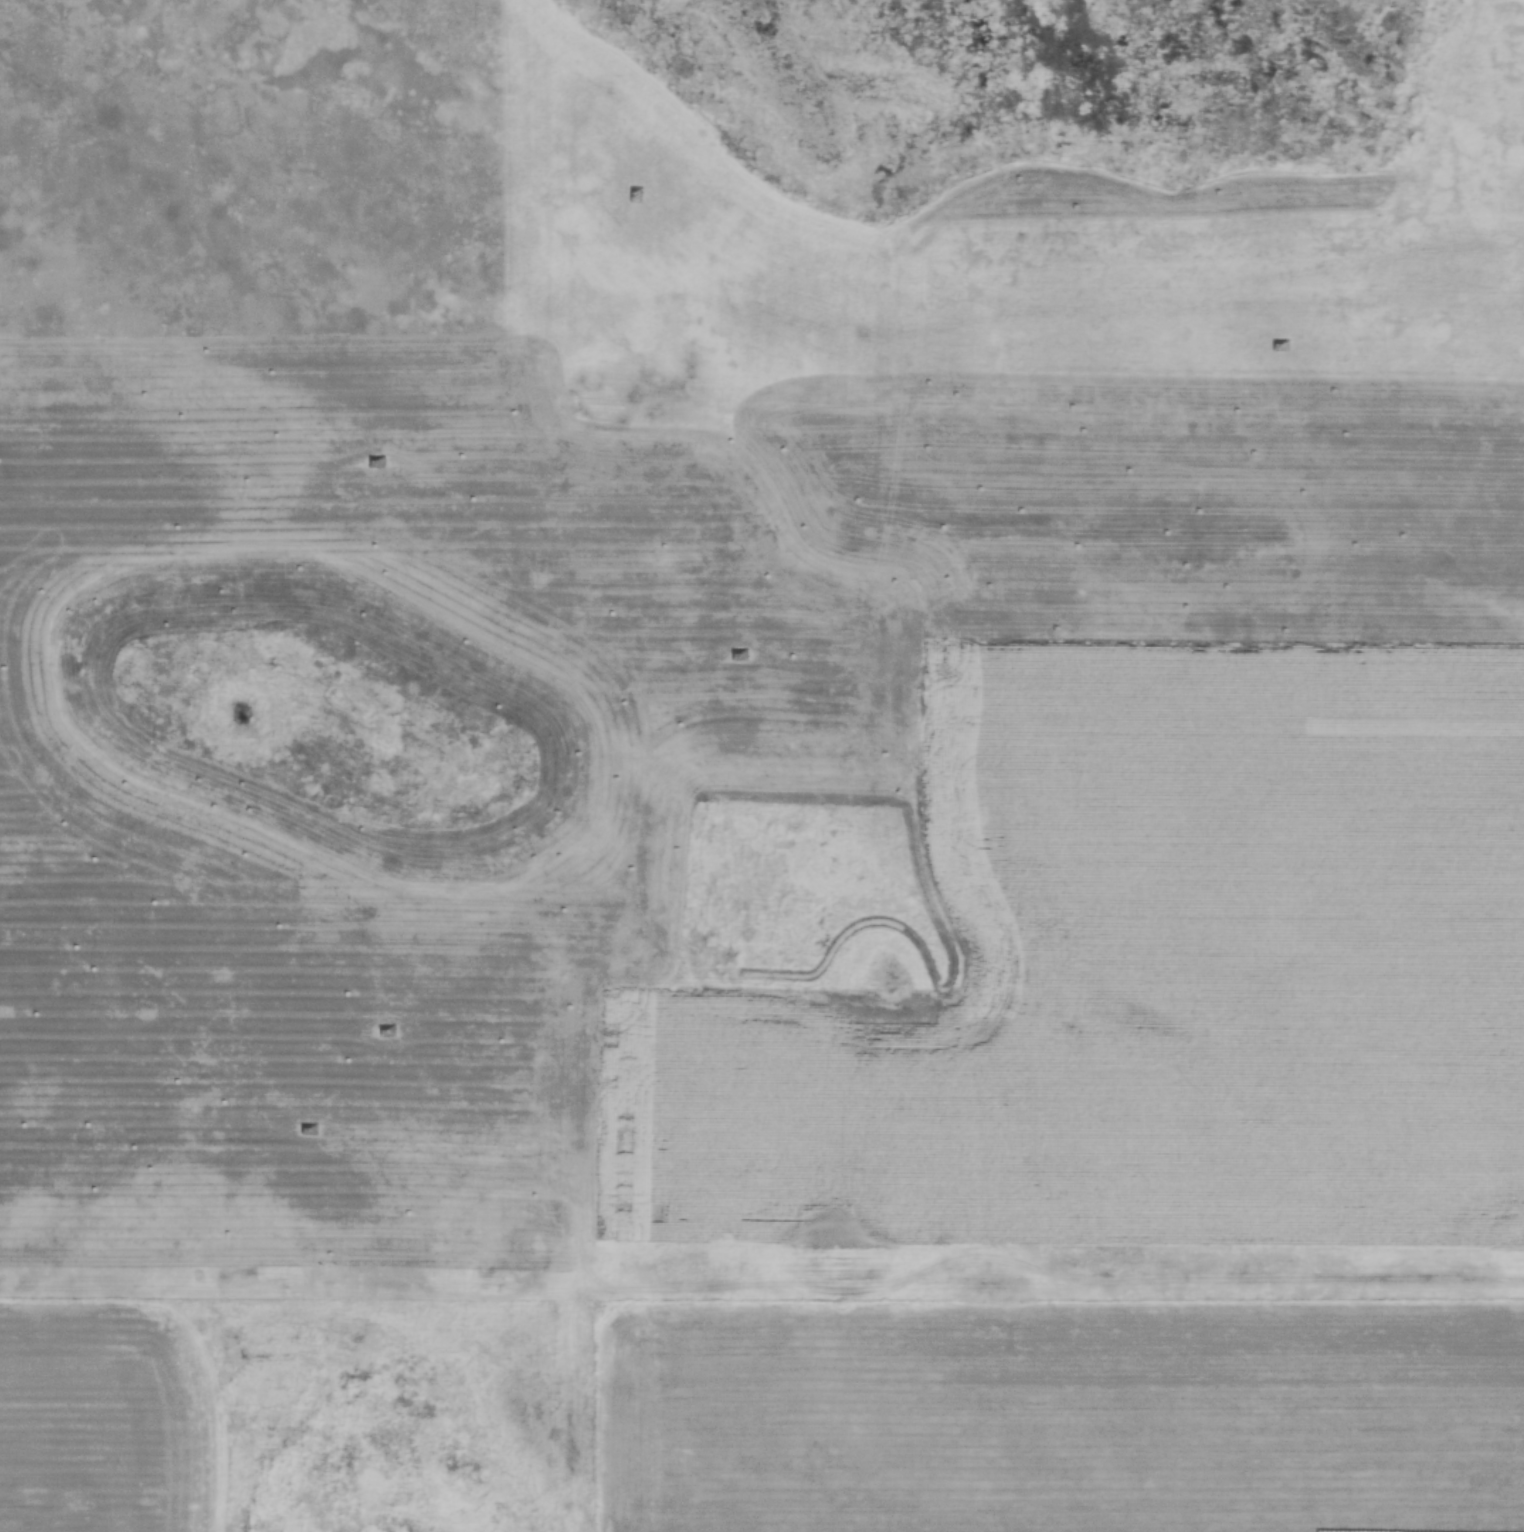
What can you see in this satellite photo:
road: (299, 1324)
road: (598, 1409)

